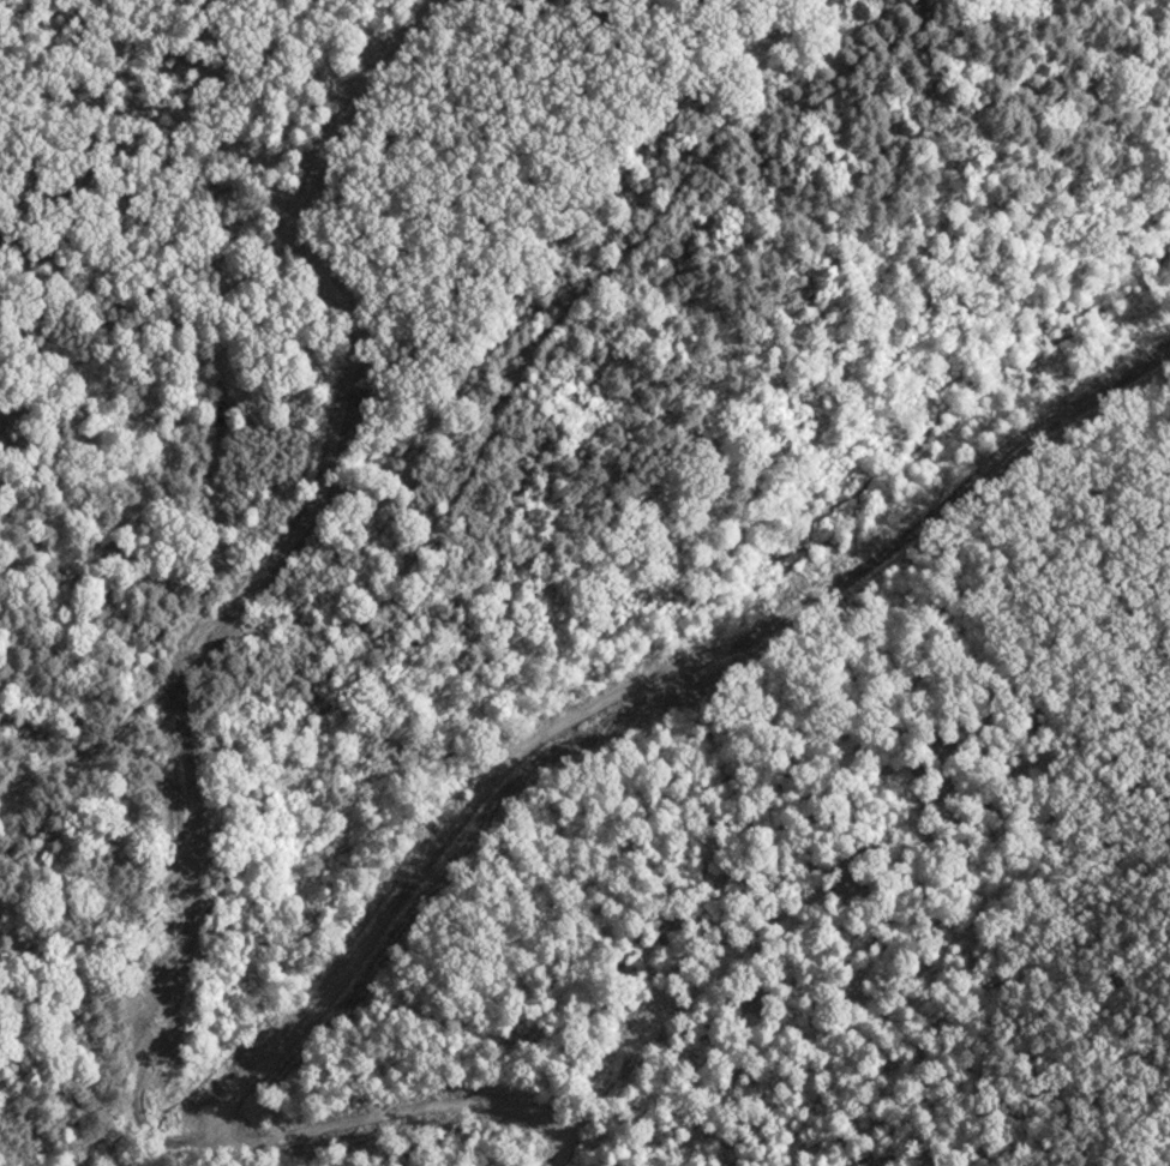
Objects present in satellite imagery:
building: (328, 638)
road: (487, 801)

